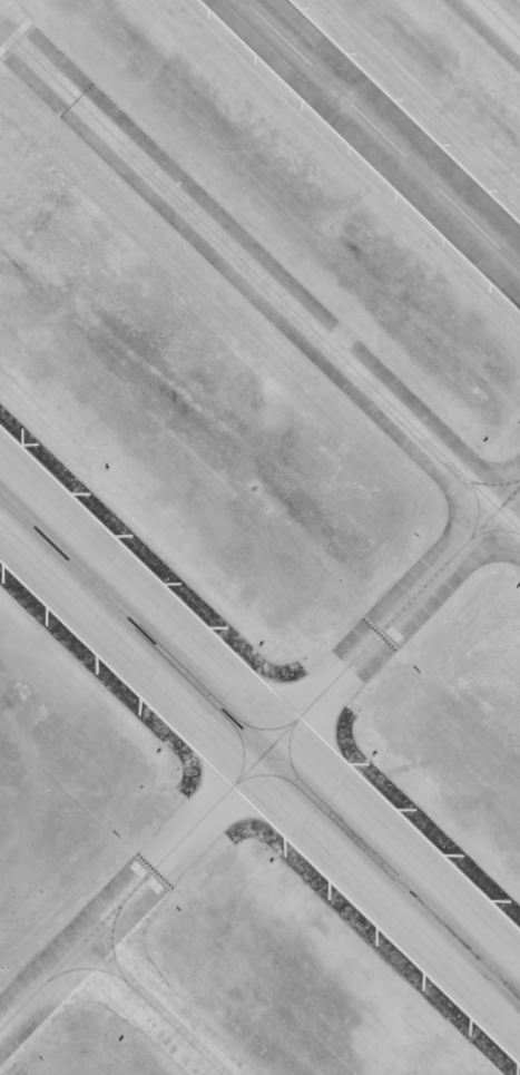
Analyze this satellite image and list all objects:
airport taxiway: (500, 19)
airport runway: (382, 134)
airport taxiway: (259, 276)
airport: (259, 537)
airport runway: (259, 745)
airport taxiway: (261, 758)
airport taxiway: (88, 967)
airport taxiway: (144, 998)

